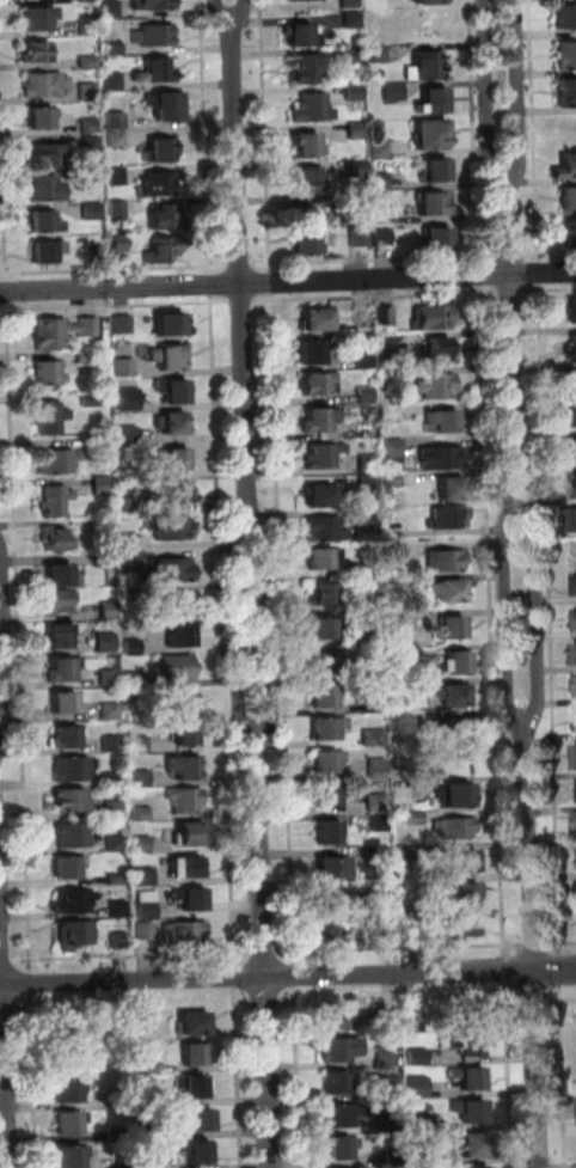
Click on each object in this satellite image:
building: (85, 0)
building: (306, 0)
building: (429, 1)
building: (350, 4)
building: (154, 5)
road: (220, 7)
road: (239, 7)
building: (111, 10)
building: (566, 17)
building: (37, 18)
building: (353, 20)
building: (87, 27)
building: (158, 35)
building: (300, 36)
building: (114, 49)
building: (37, 51)
building: (354, 55)
building: (379, 55)
building: (568, 55)
building: (88, 62)
building: (425, 67)
building: (307, 68)
building: (160, 69)
building: (114, 82)
building: (44, 85)
building: (394, 91)
building: (88, 92)
building: (568, 92)
building: (355, 93)
building: (434, 102)
building: (171, 106)
building: (313, 108)
building: (41, 118)
building: (117, 121)
building: (90, 126)
building: (356, 130)
road: (533, 130)
road: (474, 132)
building: (431, 135)
road: (206, 136)
road: (265, 136)
building: (117, 140)
building: (92, 145)
building: (310, 145)
building: (380, 149)
building: (163, 151)
building: (47, 155)
building: (359, 167)
building: (566, 167)
building: (437, 170)
building: (91, 175)
building: (117, 177)
building: (310, 179)
building: (381, 182)
road: (504, 182)
building: (163, 184)
building: (47, 188)
road: (2, 195)
building: (569, 198)
building: (360, 202)
building: (434, 204)
building: (118, 209)
building: (92, 212)
building: (308, 214)
building: (382, 215)
building: (168, 218)
building: (47, 222)
building: (570, 230)
building: (361, 237)
building: (382, 237)
building: (437, 240)
building: (120, 243)
building: (308, 244)
building: (164, 250)
building: (49, 251)
road: (547, 253)
building: (96, 255)
road: (509, 256)
road: (384, 258)
road: (261, 264)
road: (220, 265)
road: (240, 265)
road: (104, 270)
road: (241, 270)
road: (539, 273)
road: (480, 275)
road: (288, 282)
road: (271, 283)
road: (210, 286)
road: (547, 289)
road: (6, 292)
road: (510, 292)
road: (376, 296)
road: (241, 301)
road: (120, 304)
road: (4, 310)
building: (574, 311)
building: (362, 316)
building: (385, 316)
building: (434, 318)
building: (320, 319)
building: (123, 325)
building: (173, 325)
building: (62, 331)
building: (387, 344)
building: (575, 345)
building: (440, 348)
road: (511, 350)
building: (317, 351)
building: (88, 357)
building: (171, 357)
building: (364, 360)
building: (125, 368)
building: (49, 374)
building: (387, 378)
building: (575, 383)
building: (318, 384)
building: (437, 386)
building: (174, 391)
building: (366, 396)
building: (91, 400)
building: (129, 400)
building: (391, 414)
building: (574, 415)
building: (51, 417)
building: (320, 421)
building: (443, 422)
building: (172, 423)
building: (366, 430)
building: (128, 436)
building: (574, 452)
building: (394, 454)
building: (324, 455)
building: (176, 459)
building: (442, 459)
building: (60, 461)
building: (368, 464)
building: (128, 476)
building: (394, 481)
building: (574, 483)
building: (368, 484)
building: (103, 485)
building: (453, 490)
building: (173, 494)
building: (320, 496)
building: (56, 501)
building: (127, 507)
building: (451, 518)
building: (574, 518)
building: (370, 519)
building: (103, 526)
building: (171, 528)
building: (325, 530)
building: (57, 540)
building: (129, 543)
building: (396, 551)
building: (325, 559)
building: (104, 561)
building: (447, 562)
building: (131, 563)
building: (370, 570)
building: (173, 571)
building: (62, 576)
building: (396, 588)
building: (451, 592)
building: (130, 594)
building: (325, 595)
building: (60, 603)
building: (177, 604)
building: (372, 605)
building: (110, 611)
road: (550, 613)
road: (507, 616)
road: (535, 616)
building: (575, 617)
road: (492, 623)
road: (268, 626)
road: (238, 628)
building: (454, 628)
road: (283, 629)
building: (324, 630)
road: (222, 631)
building: (61, 636)
road: (2, 637)
road: (19, 637)
building: (182, 637)
building: (372, 638)
building: (106, 642)
building: (133, 648)
building: (575, 653)
building: (399, 656)
building: (458, 664)
building: (332, 665)
building: (177, 669)
building: (63, 671)
building: (373, 672)
building: (109, 679)
building: (135, 680)
building: (575, 685)
building: (399, 690)
building: (456, 696)
building: (325, 698)
building: (184, 702)
building: (66, 704)
building: (375, 705)
building: (111, 711)
building: (409, 721)
building: (329, 729)
building: (460, 729)
building: (185, 735)
building: (68, 738)
building: (375, 739)
building: (112, 745)
building: (140, 745)
building: (329, 763)
building: (185, 769)
building: (72, 770)
building: (378, 770)
building: (112, 779)
building: (141, 779)
building: (406, 794)
building: (329, 797)
building: (455, 797)
building: (72, 802)
building: (186, 802)
building: (378, 803)
building: (115, 811)
building: (141, 814)
building: (413, 819)
building: (381, 824)
building: (456, 828)
building: (330, 833)
building: (192, 834)
building: (76, 836)
building: (116, 845)
building: (143, 845)
building: (408, 855)
building: (382, 857)
building: (466, 862)
building: (336, 868)
building: (71, 869)
building: (188, 869)
building: (146, 877)
building: (117, 880)
building: (382, 886)
building: (461, 897)
building: (195, 901)
building: (74, 903)
building: (331, 903)
building: (148, 906)
building: (120, 911)
building: (465, 928)
building: (386, 929)
building: (339, 931)
building: (410, 931)
building: (147, 932)
building: (186, 934)
building: (75, 935)
road: (531, 941)
building: (120, 942)
road: (563, 943)
road: (532, 944)
road: (552, 944)
road: (264, 948)
road: (399, 948)
road: (265, 953)
road: (133, 956)
road: (6, 961)
road: (562, 971)
road: (503, 972)
road: (287, 977)
road: (295, 977)
road: (235, 978)
road: (32, 984)
road: (554, 992)
road: (532, 993)
road: (511, 995)
road: (563, 998)
road: (288, 1001)
road: (265, 1002)
road: (244, 1003)
road: (23, 1009)
road: (6, 1010)
building: (338, 1019)
building: (466, 1021)
building: (146, 1023)
building: (413, 1023)
building: (194, 1025)
building: (387, 1025)
building: (123, 1029)
building: (76, 1035)
building: (464, 1045)
road: (5, 1048)
building: (342, 1051)
building: (196, 1056)
building: (387, 1057)
building: (417, 1058)
building: (151, 1069)
road: (505, 1076)
road: (299, 1077)
road: (238, 1078)
building: (470, 1080)
road: (35, 1081)
building: (339, 1084)
road: (565, 1084)
building: (387, 1087)
building: (417, 1087)
building: (194, 1088)
building: (69, 1093)
building: (152, 1099)
building: (123, 1100)
building: (471, 1113)
building: (342, 1118)
building: (197, 1120)
building: (388, 1121)
building: (72, 1124)
building: (421, 1124)
building: (152, 1132)
building: (116, 1135)
building: (470, 1146)
building: (342, 1150)
building: (200, 1154)
building: (74, 1157)
building: (393, 1157)
building: (421, 1157)
building: (159, 1161)
building: (125, 1163)
building: (473, 1167)

